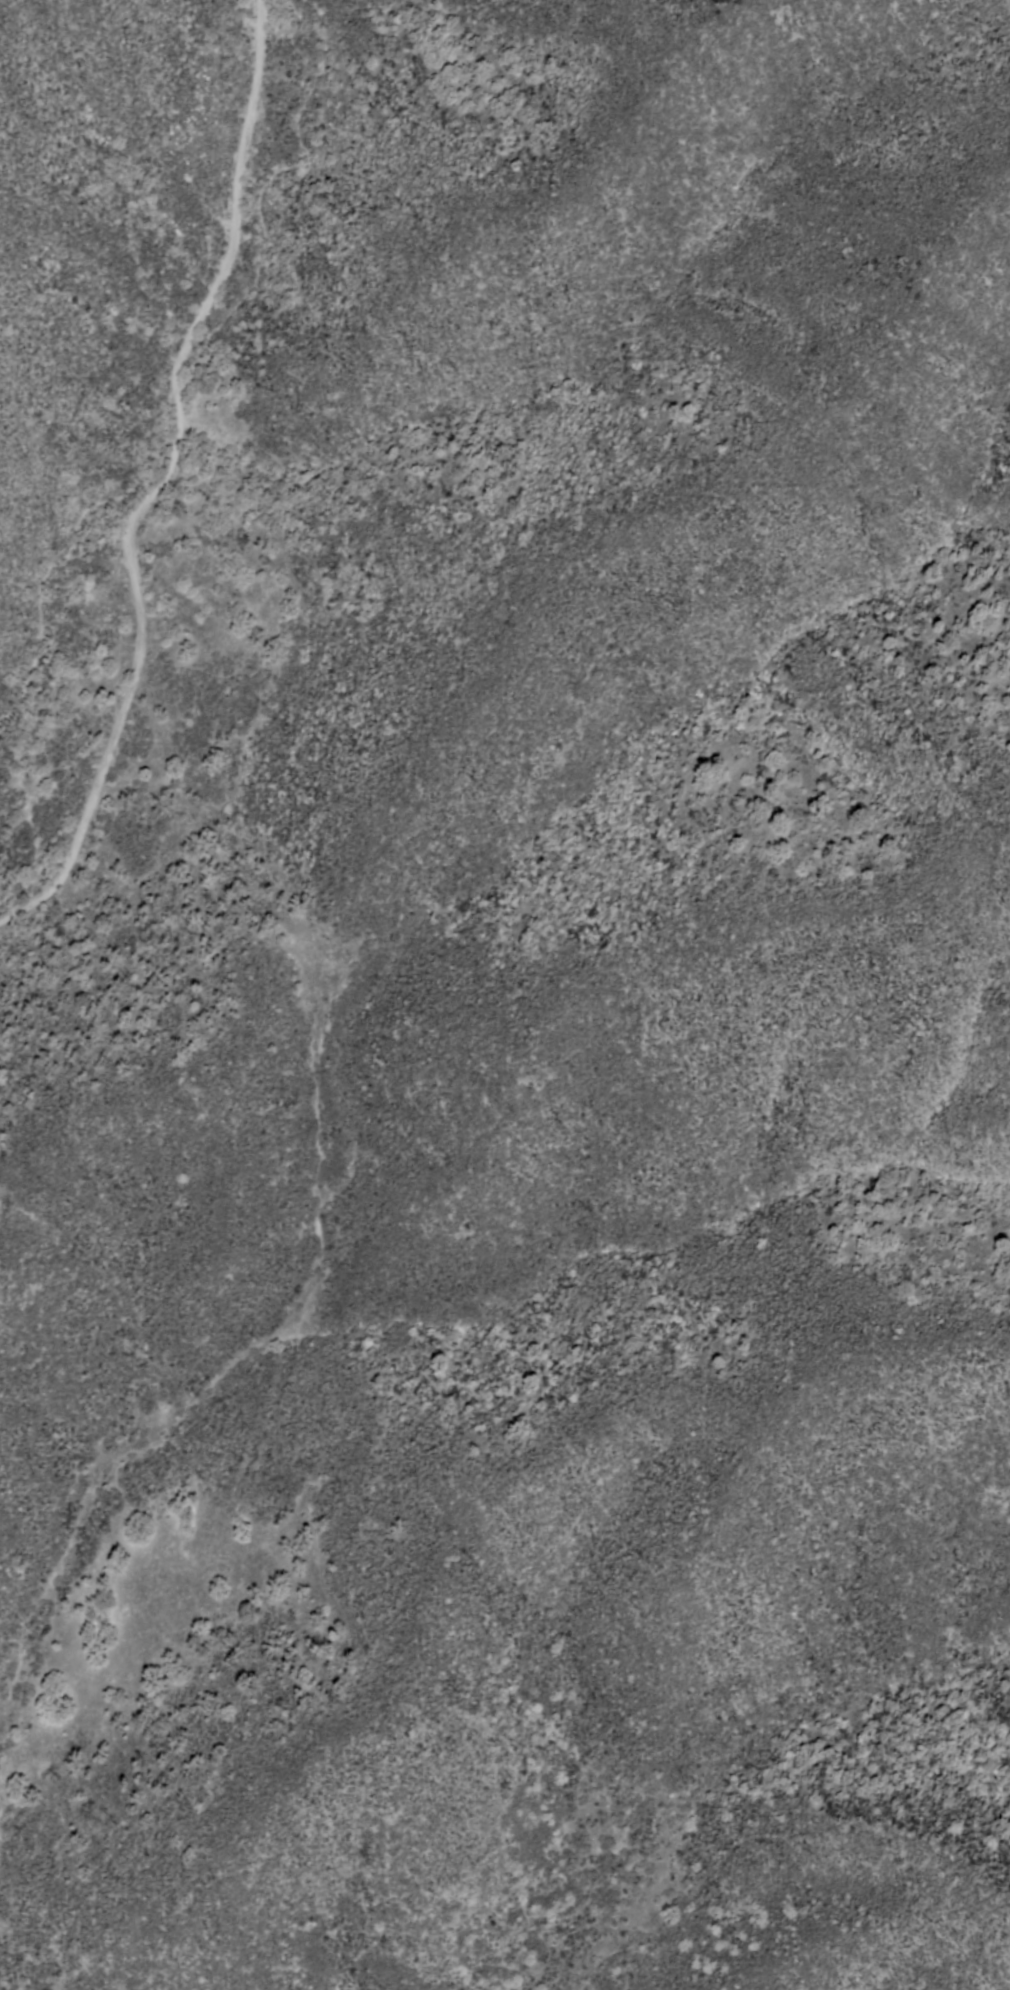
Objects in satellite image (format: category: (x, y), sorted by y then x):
road: (168, 487)

